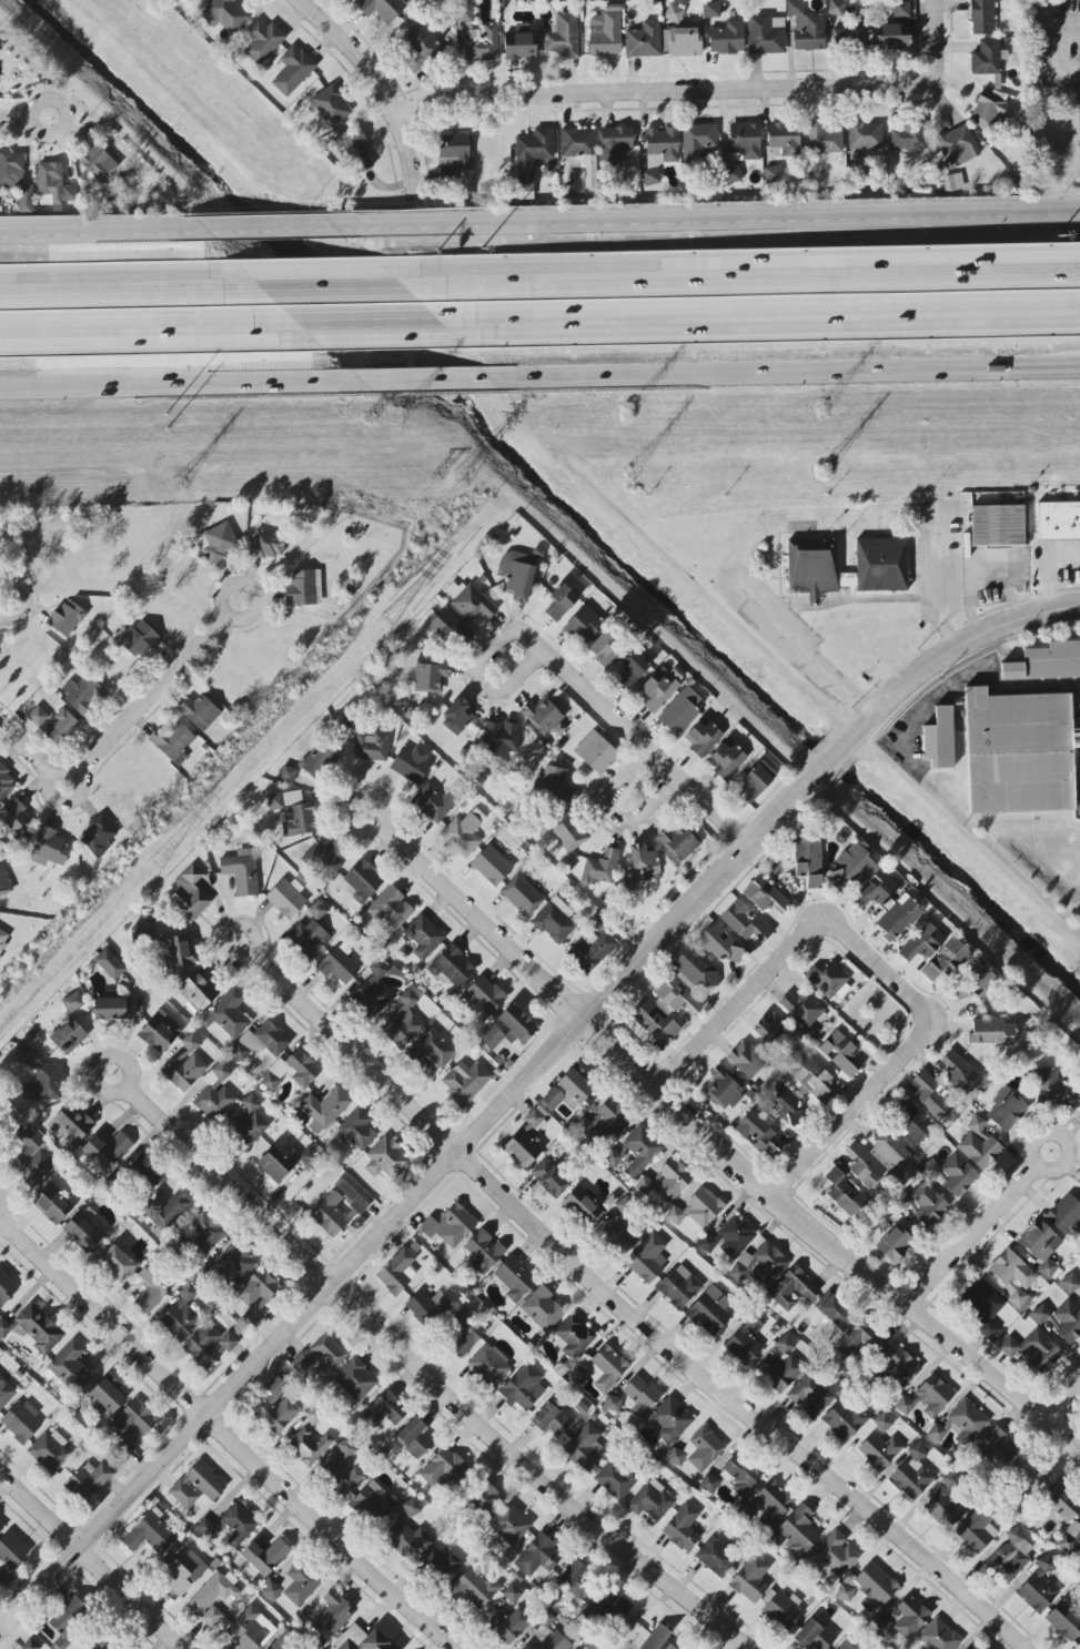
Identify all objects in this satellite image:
building: (201, 0)
building: (836, 7)
building: (382, 9)
building: (900, 9)
building: (711, 10)
building: (674, 13)
building: (224, 14)
building: (464, 14)
building: (981, 17)
building: (805, 28)
building: (605, 32)
building: (765, 34)
building: (847, 34)
building: (563, 36)
building: (894, 37)
building: (727, 38)
building: (262, 41)
building: (643, 41)
building: (683, 41)
building: (482, 44)
building: (421, 47)
building: (518, 47)
building: (986, 58)
road: (1059, 60)
building: (292, 70)
road: (380, 84)
road: (705, 91)
road: (47, 101)
building: (332, 105)
building: (991, 108)
road: (14, 120)
building: (865, 135)
building: (908, 135)
building: (784, 138)
building: (824, 139)
building: (697, 141)
building: (578, 143)
building: (614, 144)
building: (957, 146)
building: (740, 150)
building: (454, 151)
building: (356, 152)
building: (659, 152)
building: (533, 160)
building: (97, 162)
building: (447, 175)
building: (591, 176)
building: (773, 176)
building: (16, 180)
building: (54, 184)
road: (705, 220)
road: (261, 227)
road: (95, 230)
road: (773, 285)
road: (361, 295)
road: (129, 300)
road: (770, 312)
road: (365, 322)
road: (134, 325)
road: (785, 372)
road: (416, 381)
road: (171, 385)
power tower: (817, 405)
power tower: (626, 409)
power tower: (397, 418)
power tower: (369, 419)
power tower: (172, 423)
power tower: (821, 469)
power tower: (626, 475)
power tower: (458, 478)
power tower: (435, 479)
power tower: (178, 484)
building: (1058, 522)
building: (997, 526)
building: (218, 542)
building: (266, 545)
building: (880, 565)
building: (812, 567)
road: (1050, 567)
building: (516, 575)
building: (303, 588)
road: (250, 590)
road: (982, 594)
road: (24, 600)
building: (561, 601)
building: (473, 604)
road: (939, 604)
building: (65, 618)
power tower: (387, 623)
building: (583, 625)
building: (451, 629)
building: (140, 639)
road: (538, 639)
road: (798, 648)
road: (951, 649)
building: (604, 650)
building: (1046, 662)
building: (632, 669)
building: (430, 676)
road: (486, 689)
building: (656, 691)
building: (80, 694)
road: (154, 695)
building: (682, 710)
building: (199, 712)
building: (456, 716)
building: (543, 716)
building: (37, 717)
building: (350, 721)
building: (60, 728)
building: (702, 737)
building: (172, 739)
building: (499, 739)
building: (939, 740)
building: (371, 746)
road: (653, 751)
building: (596, 752)
building: (1018, 752)
road: (34, 757)
building: (315, 759)
building: (726, 759)
road: (834, 761)
building: (411, 763)
building: (287, 776)
building: (756, 781)
building: (6, 782)
building: (556, 785)
road: (350, 800)
building: (433, 802)
road: (65, 805)
building: (294, 813)
road: (614, 815)
building: (14, 818)
building: (98, 833)
building: (568, 833)
building: (462, 834)
building: (679, 842)
building: (50, 847)
building: (642, 857)
building: (321, 858)
building: (808, 862)
building: (491, 866)
power tower: (157, 867)
building: (852, 867)
building: (599, 869)
building: (241, 873)
building: (363, 880)
building: (4, 882)
building: (875, 889)
building: (189, 894)
building: (522, 896)
building: (765, 896)
building: (285, 898)
building: (390, 908)
building: (317, 910)
building: (897, 918)
building: (554, 921)
building: (745, 922)
road: (221, 929)
building: (143, 933)
building: (424, 937)
building: (3, 939)
building: (309, 939)
building: (719, 944)
building: (591, 951)
building: (175, 952)
building: (933, 954)
building: (110, 964)
building: (339, 965)
building: (452, 968)
building: (828, 981)
building: (686, 982)
building: (976, 982)
building: (198, 991)
building: (372, 992)
building: (482, 997)
building: (72, 1002)
road: (737, 1002)
building: (112, 1009)
building: (801, 1009)
building: (228, 1014)
building: (653, 1020)
building: (402, 1022)
building: (508, 1029)
building: (769, 1030)
building: (160, 1032)
building: (991, 1033)
building: (68, 1039)
building: (261, 1042)
building: (431, 1049)
building: (840, 1053)
building: (23, 1055)
building: (746, 1059)
road: (901, 1059)
road: (100, 1062)
building: (185, 1065)
building: (291, 1072)
building: (960, 1074)
building: (815, 1079)
building: (464, 1082)
building: (44, 1084)
building: (1050, 1087)
building: (723, 1089)
building: (569, 1090)
building: (214, 1094)
building: (932, 1096)
building: (784, 1103)
building: (1006, 1109)
building: (324, 1110)
building: (612, 1120)
building: (911, 1121)
building: (245, 1122)
building: (70, 1123)
building: (357, 1130)
building: (758, 1135)
road: (1062, 1137)
building: (525, 1142)
building: (978, 1144)
road: (717, 1149)
building: (639, 1151)
building: (107, 1152)
building: (309, 1156)
building: (877, 1156)
building: (387, 1157)
building: (613, 1157)
building: (31, 1160)
building: (274, 1165)
building: (142, 1174)
building: (951, 1174)
building: (549, 1178)
building: (666, 1181)
building: (845, 1193)
building: (351, 1195)
building: (52, 1204)
road: (406, 1204)
building: (922, 1204)
road: (1, 1205)
building: (583, 1205)
building: (697, 1210)
building: (165, 1211)
building: (1064, 1214)
building: (330, 1215)
building: (450, 1226)
building: (82, 1233)
building: (202, 1234)
road: (977, 1234)
building: (617, 1236)
building: (894, 1244)
building: (1040, 1246)
building: (483, 1252)
building: (647, 1258)
building: (117, 1263)
building: (763, 1264)
building: (232, 1266)
building: (396, 1272)
building: (1013, 1276)
building: (514, 1278)
building: (1070, 1285)
building: (678, 1286)
building: (6, 1288)
building: (152, 1288)
building: (793, 1289)
building: (256, 1295)
building: (426, 1306)
building: (982, 1307)
building: (542, 1308)
building: (709, 1311)
building: (836, 1313)
building: (181, 1315)
road: (627, 1315)
building: (1060, 1319)
building: (461, 1336)
building: (573, 1336)
building: (859, 1342)
building: (784, 1344)
building: (209, 1346)
building: (743, 1346)
building: (1032, 1350)
building: (321, 1356)
building: (489, 1365)
building: (68, 1366)
building: (599, 1368)
building: (901, 1370)
building: (783, 1372)
road: (427, 1378)
building: (355, 1380)
building: (523, 1387)
building: (6, 1393)
building: (640, 1395)
building: (108, 1396)
building: (809, 1396)
building: (927, 1398)
building: (612, 1404)
road: (1066, 1405)
building: (276, 1409)
building: (383, 1412)
building: (551, 1419)
building: (844, 1419)
building: (669, 1420)
building: (21, 1422)
building: (132, 1422)
building: (967, 1422)
building: (881, 1425)
building: (936, 1433)
road: (225, 1437)
building: (414, 1438)
building: (309, 1446)
building: (585, 1447)
building: (998, 1447)
building: (345, 1448)
building: (697, 1450)
building: (878, 1450)
building: (50, 1451)
building: (443, 1468)
building: (1028, 1473)
building: (739, 1474)
building: (912, 1474)
building: (341, 1477)
building: (615, 1478)
building: (88, 1480)
building: (708, 1484)
building: (196, 1485)
building: (483, 1499)
building: (650, 1500)
building: (373, 1503)
building: (773, 1504)
building: (1059, 1505)
building: (411, 1508)
building: (945, 1508)
building: (746, 1511)
building: (238, 1524)
building: (509, 1525)
building: (1, 1527)
building: (682, 1528)
building: (976, 1531)
building: (150, 1532)
building: (796, 1534)
building: (405, 1537)
building: (11, 1551)
building: (835, 1555)
building: (537, 1556)
building: (1010, 1556)
building: (716, 1557)
building: (264, 1558)
road: (90, 1560)
building: (440, 1562)
building: (183, 1571)
building: (3, 1579)
building: (576, 1579)
building: (750, 1579)
building: (875, 1584)
building: (293, 1586)
building: (474, 1588)
building: (1038, 1588)
building: (213, 1592)
building: (845, 1592)
building: (608, 1606)
building: (781, 1610)
building: (68, 1617)
building: (211, 1617)
building: (908, 1617)
building: (331, 1618)
building: (1064, 1621)
building: (509, 1625)
building: (881, 1626)
building: (250, 1629)
building: (812, 1636)
building: (938, 1636)
building: (553, 1637)
building: (362, 1639)
building: (657, 1639)
building: (30, 1645)
building: (849, 1645)
building: (276, 1646)
building: (120, 1647)
building: (528, 1647)
building: (581, 1647)
building: (968, 1648)

